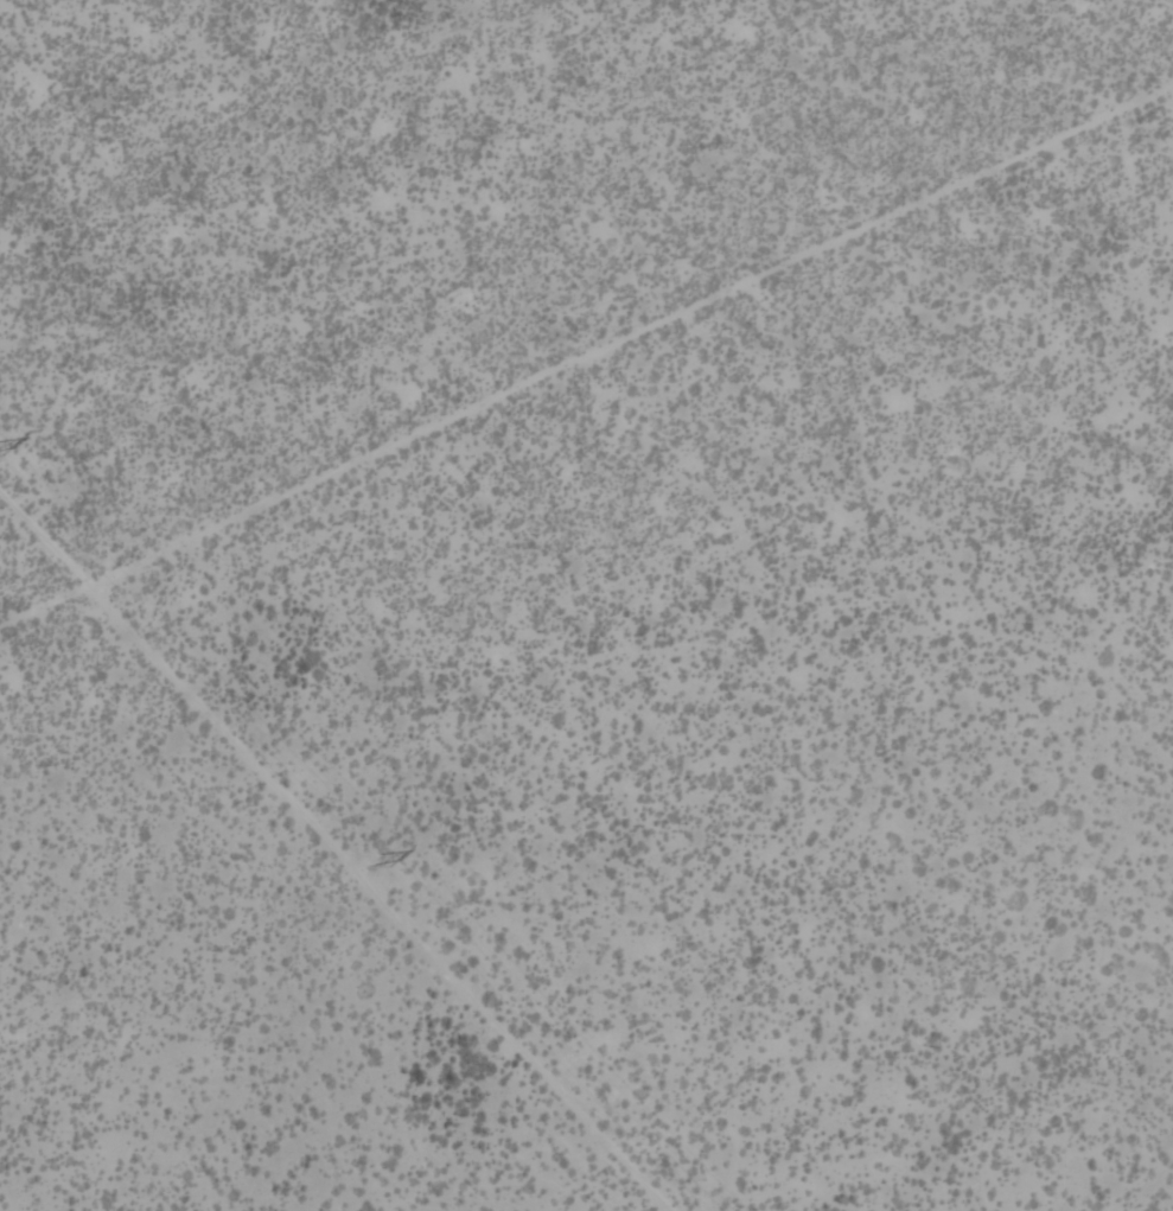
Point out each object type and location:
road: (586, 349)
road: (337, 850)
power tower: (369, 858)

